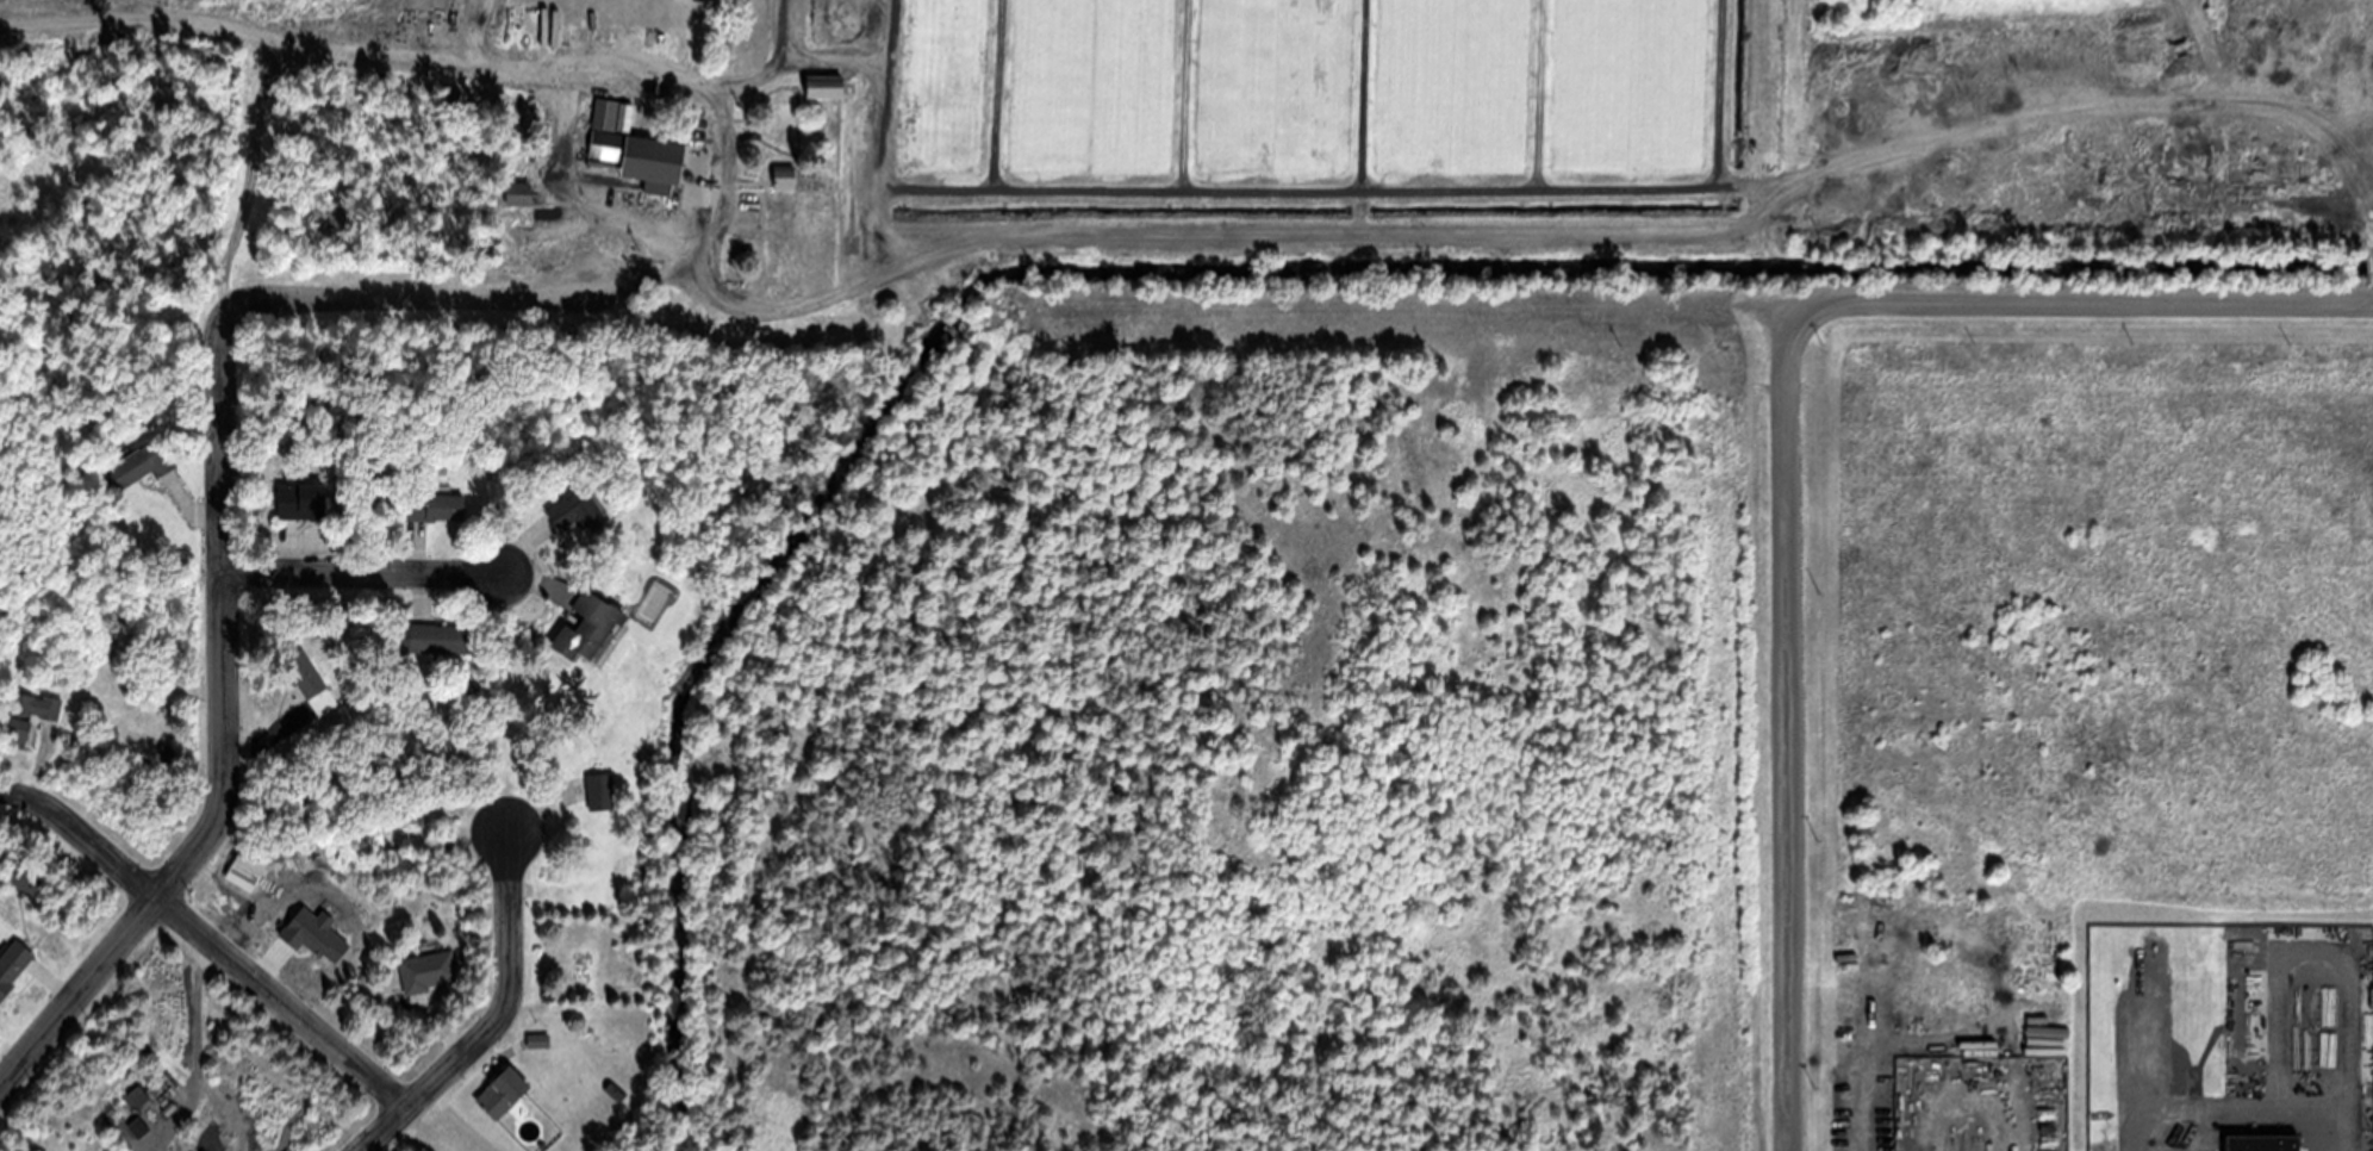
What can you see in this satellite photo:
building: (621, 12)
building: (823, 85)
building: (604, 112)
building: (624, 116)
crop: (1181, 144)
building: (641, 156)
building: (537, 168)
building: (784, 175)
building: (2369, 183)
building: (509, 192)
road: (1586, 290)
building: (871, 293)
road: (425, 298)
building: (141, 462)
building: (303, 499)
building: (434, 505)
building: (575, 510)
road: (363, 572)
road: (225, 597)
building: (588, 626)
building: (440, 636)
building: (311, 679)
building: (480, 689)
building: (27, 711)
road: (1800, 723)
building: (167, 751)
building: (600, 790)
building: (424, 873)
building: (25, 877)
road: (206, 937)
building: (13, 964)
building: (426, 970)
road: (77, 985)
road: (498, 1018)
building: (538, 1039)
building: (503, 1090)
building: (615, 1090)
building: (2261, 1143)
building: (543, 1144)
building: (1976, 1144)

